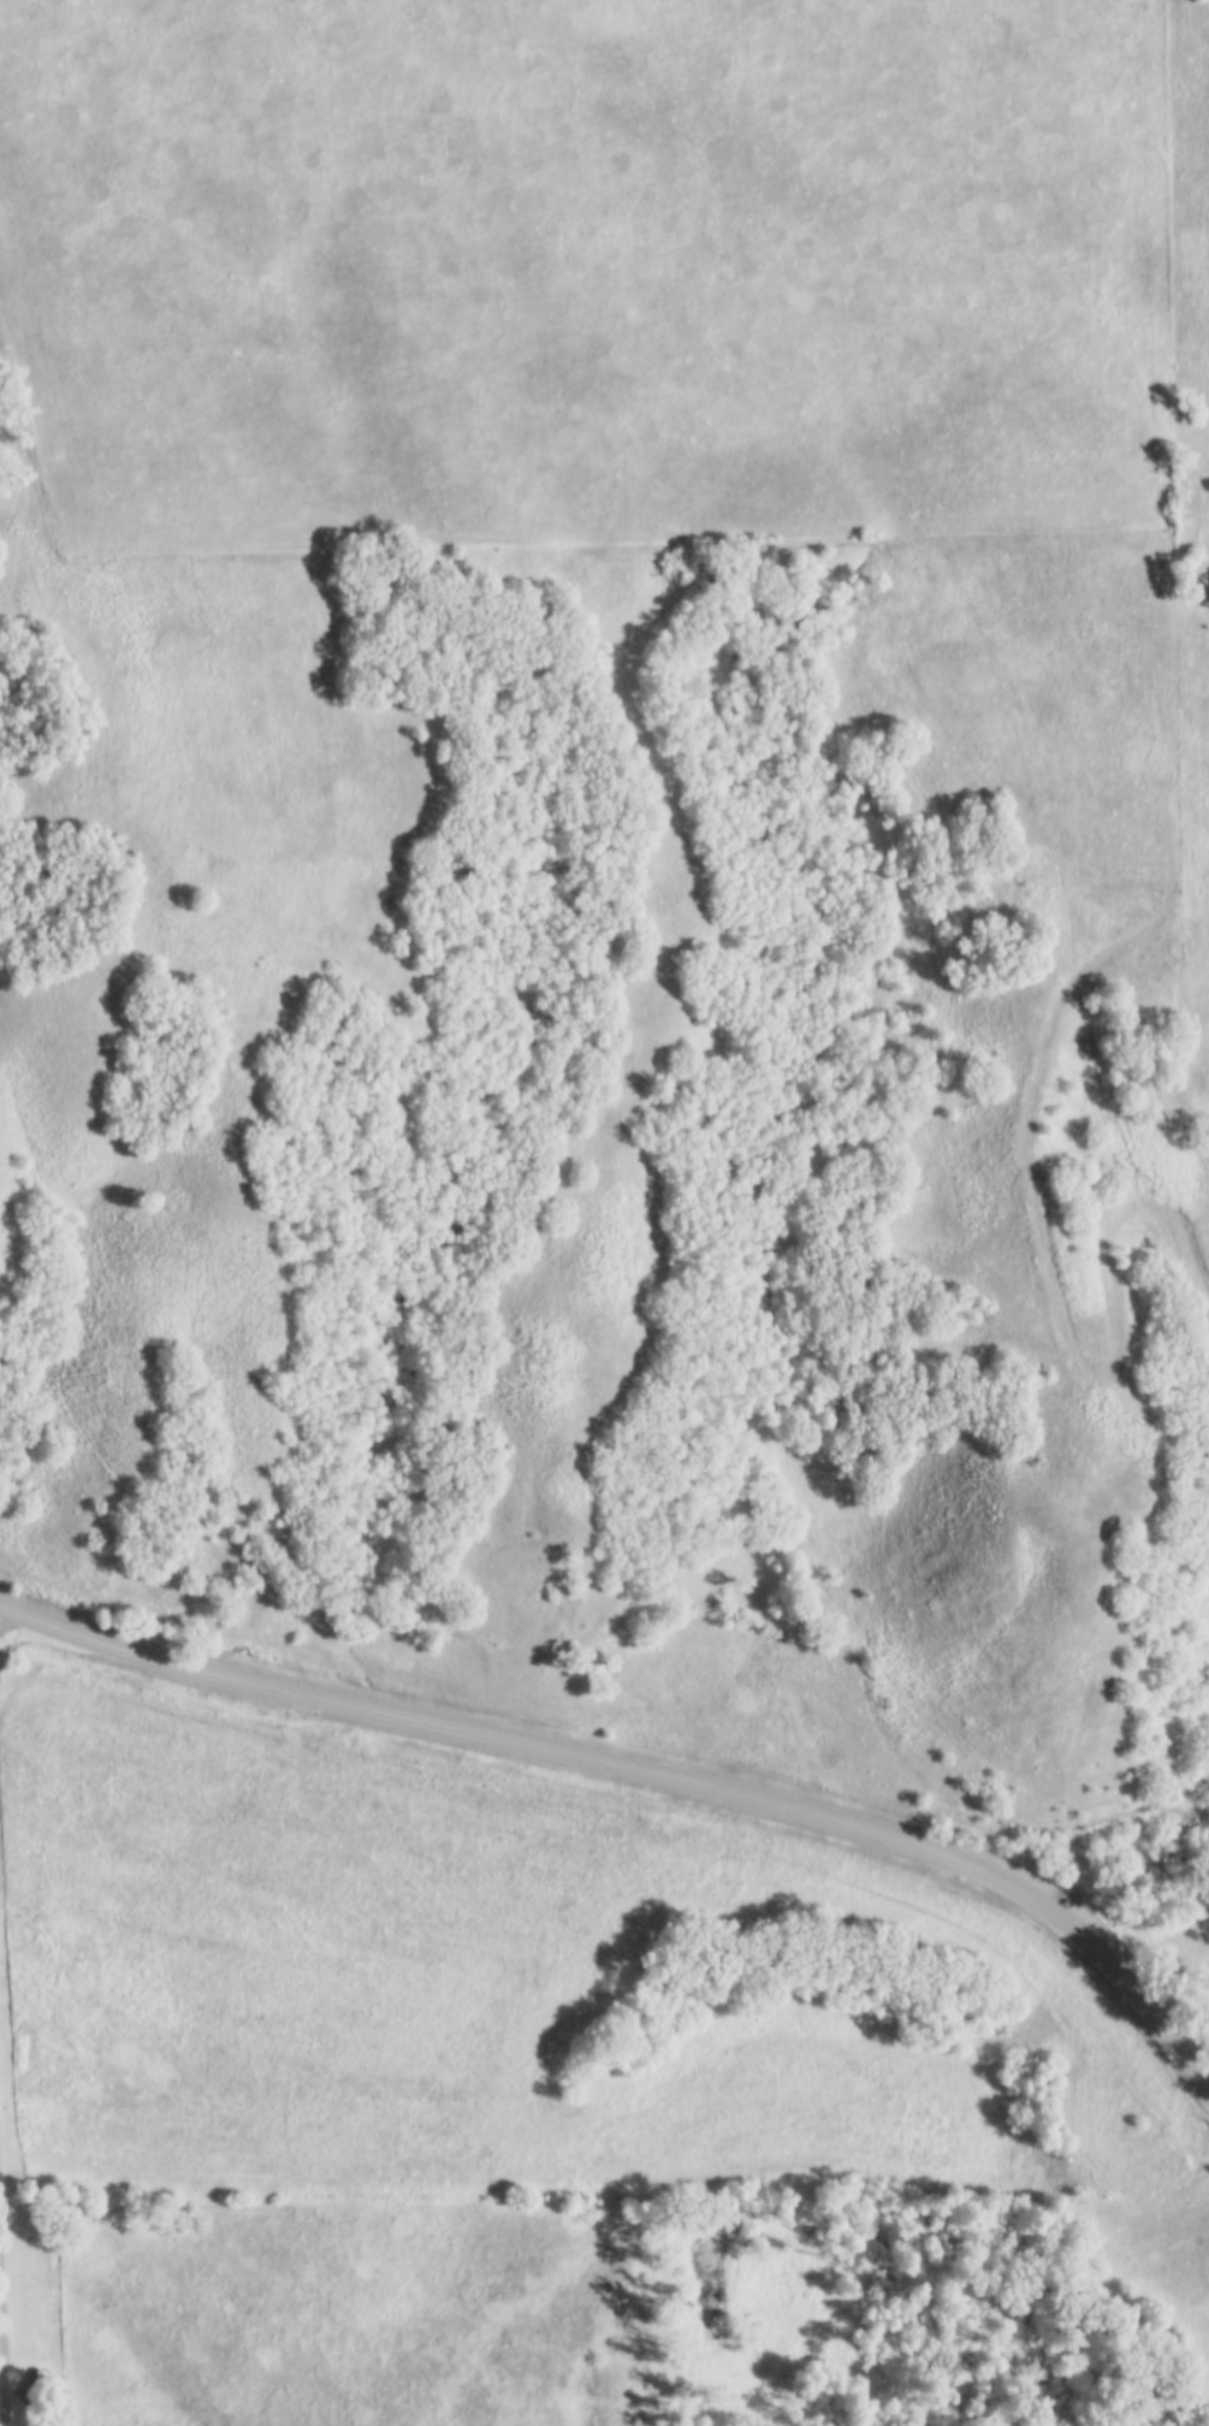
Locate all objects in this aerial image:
road: (648, 1767)

